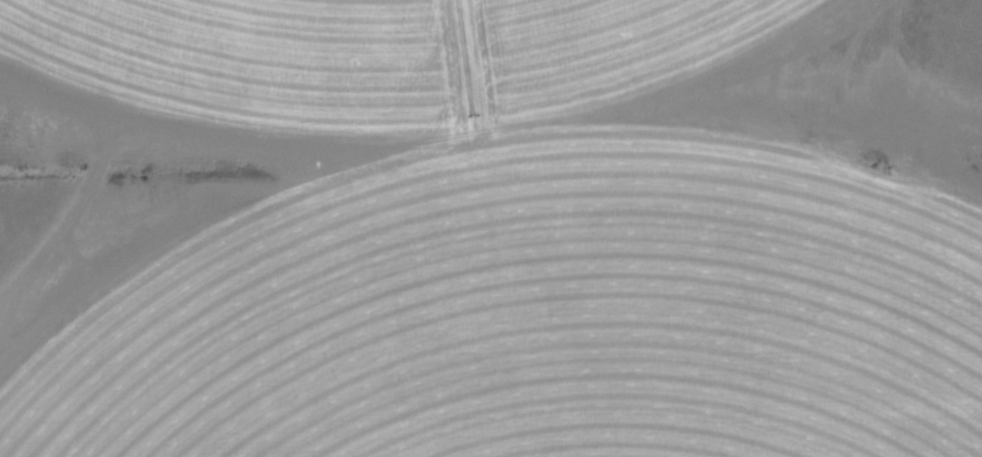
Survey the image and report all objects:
crop: (491, 228)

